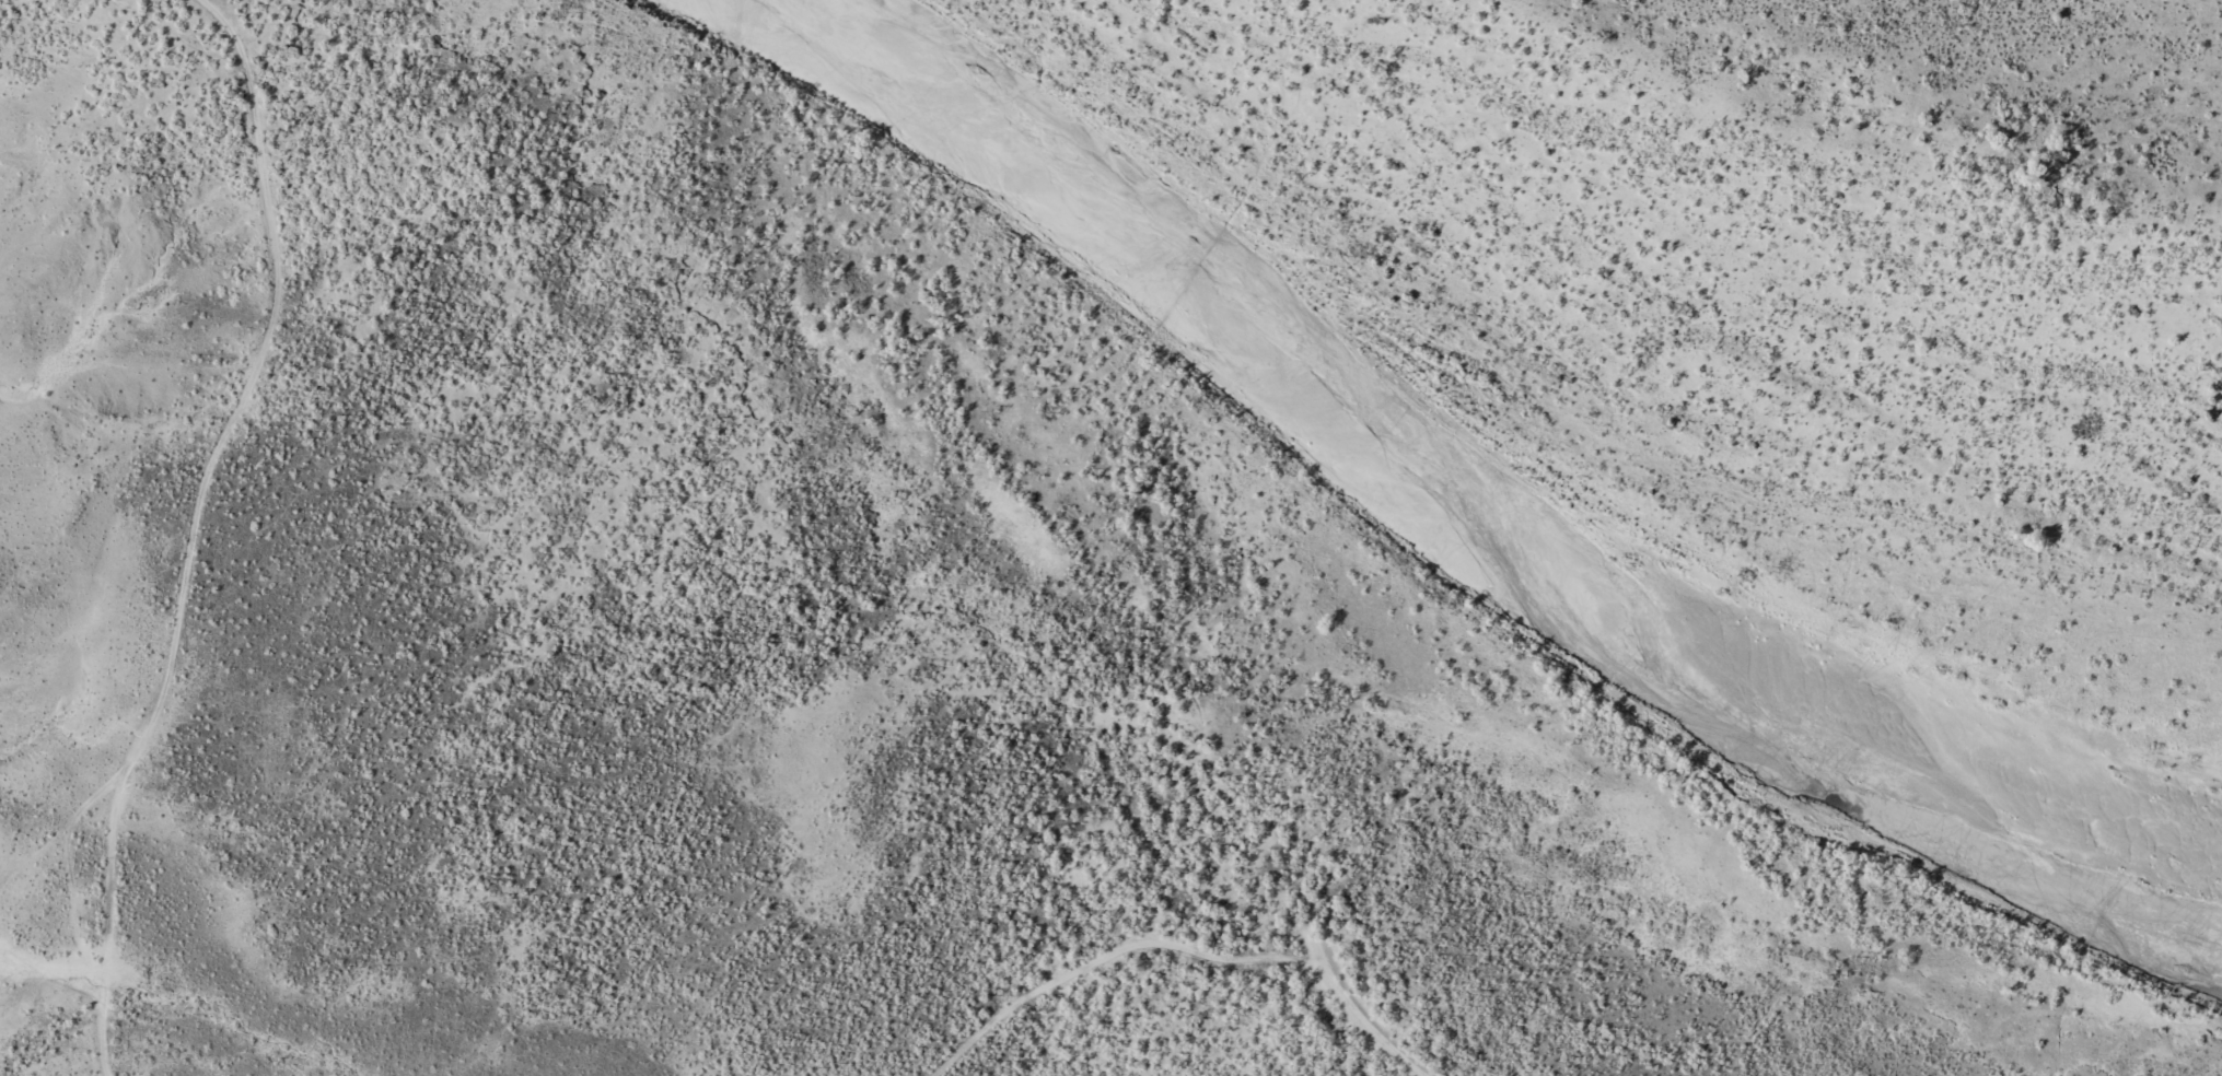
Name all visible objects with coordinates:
river: (1464, 535)

